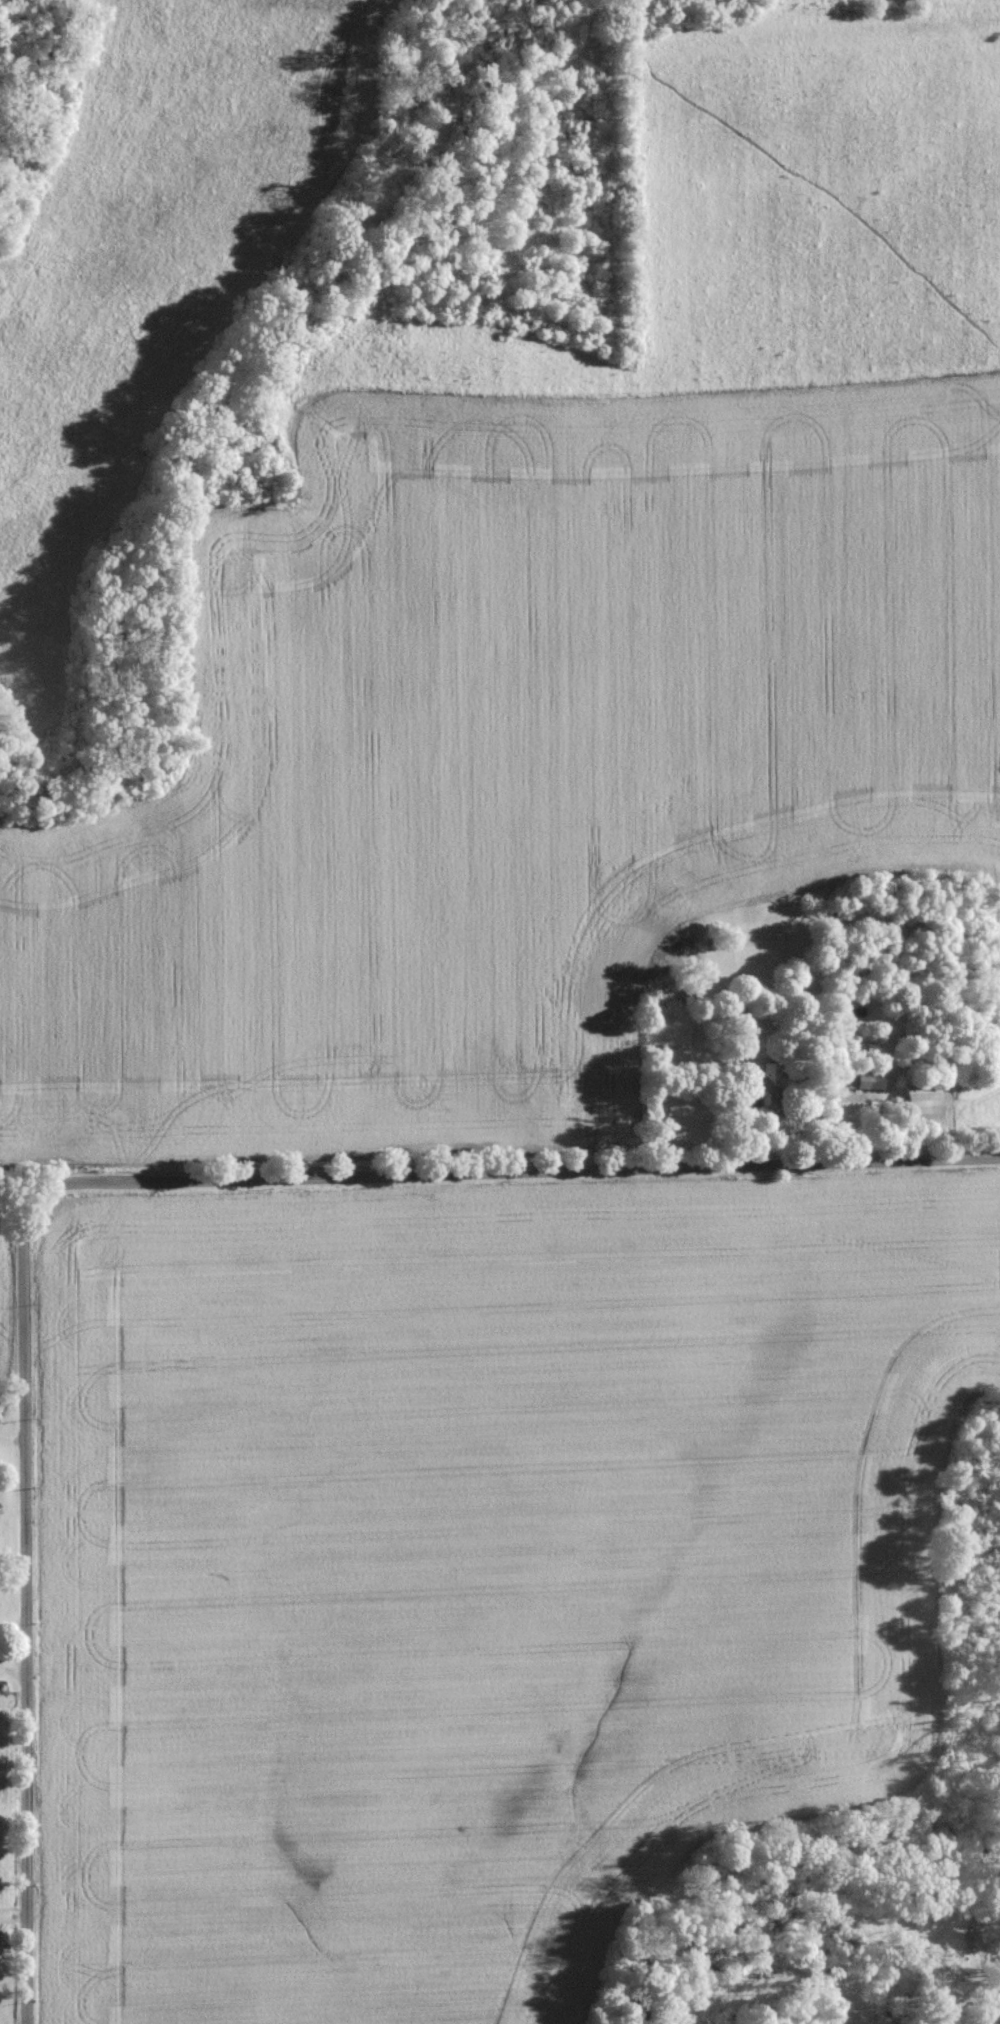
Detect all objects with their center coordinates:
road: (172, 590)
building: (869, 1080)
building: (766, 1097)
building: (923, 1101)
road: (536, 1170)
road: (27, 1589)

